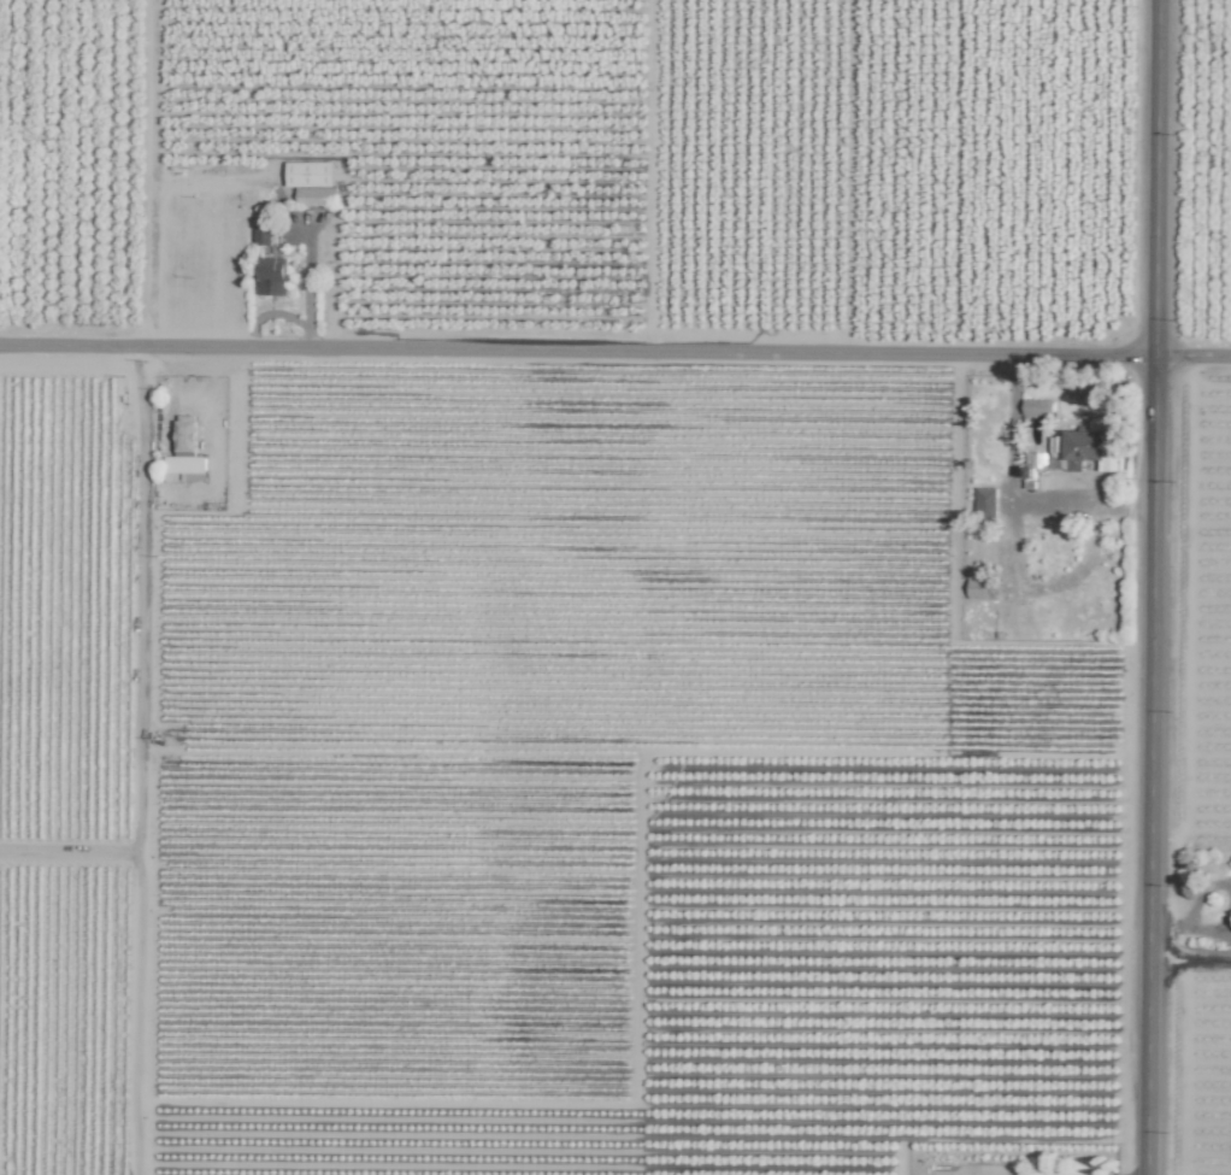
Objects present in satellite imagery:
building: (310, 181)
building: (261, 234)
building: (272, 276)
road: (615, 348)
road: (222, 403)
building: (1037, 406)
building: (1089, 450)
building: (184, 453)
building: (985, 501)
building: (978, 587)
road: (1153, 587)
road: (1190, 962)

